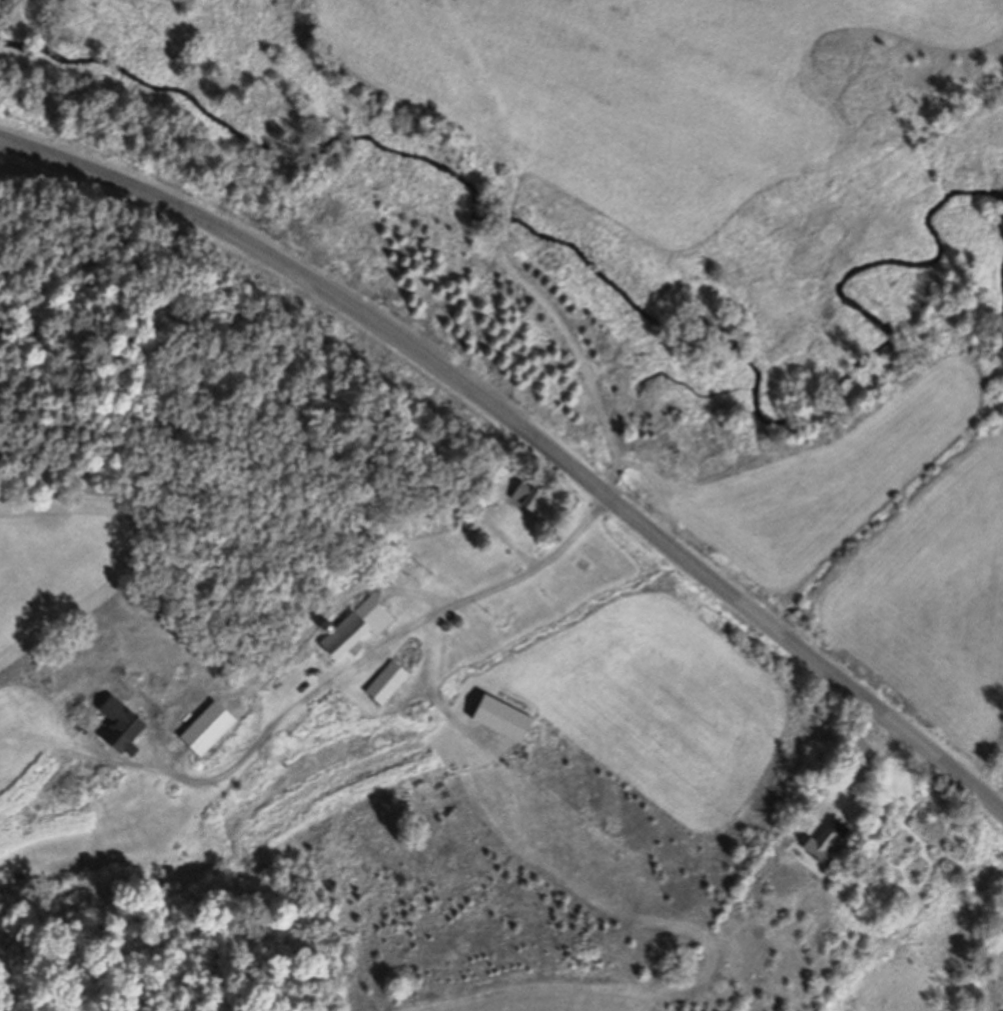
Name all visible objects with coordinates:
road: (496, 100)
road: (506, 220)
road: (580, 353)
road: (527, 431)
building: (528, 497)
building: (467, 524)
road: (512, 547)
building: (558, 584)
building: (359, 624)
road: (360, 669)
building: (386, 680)
building: (505, 718)
building: (860, 749)
road: (188, 753)
road: (858, 774)
building: (827, 841)

